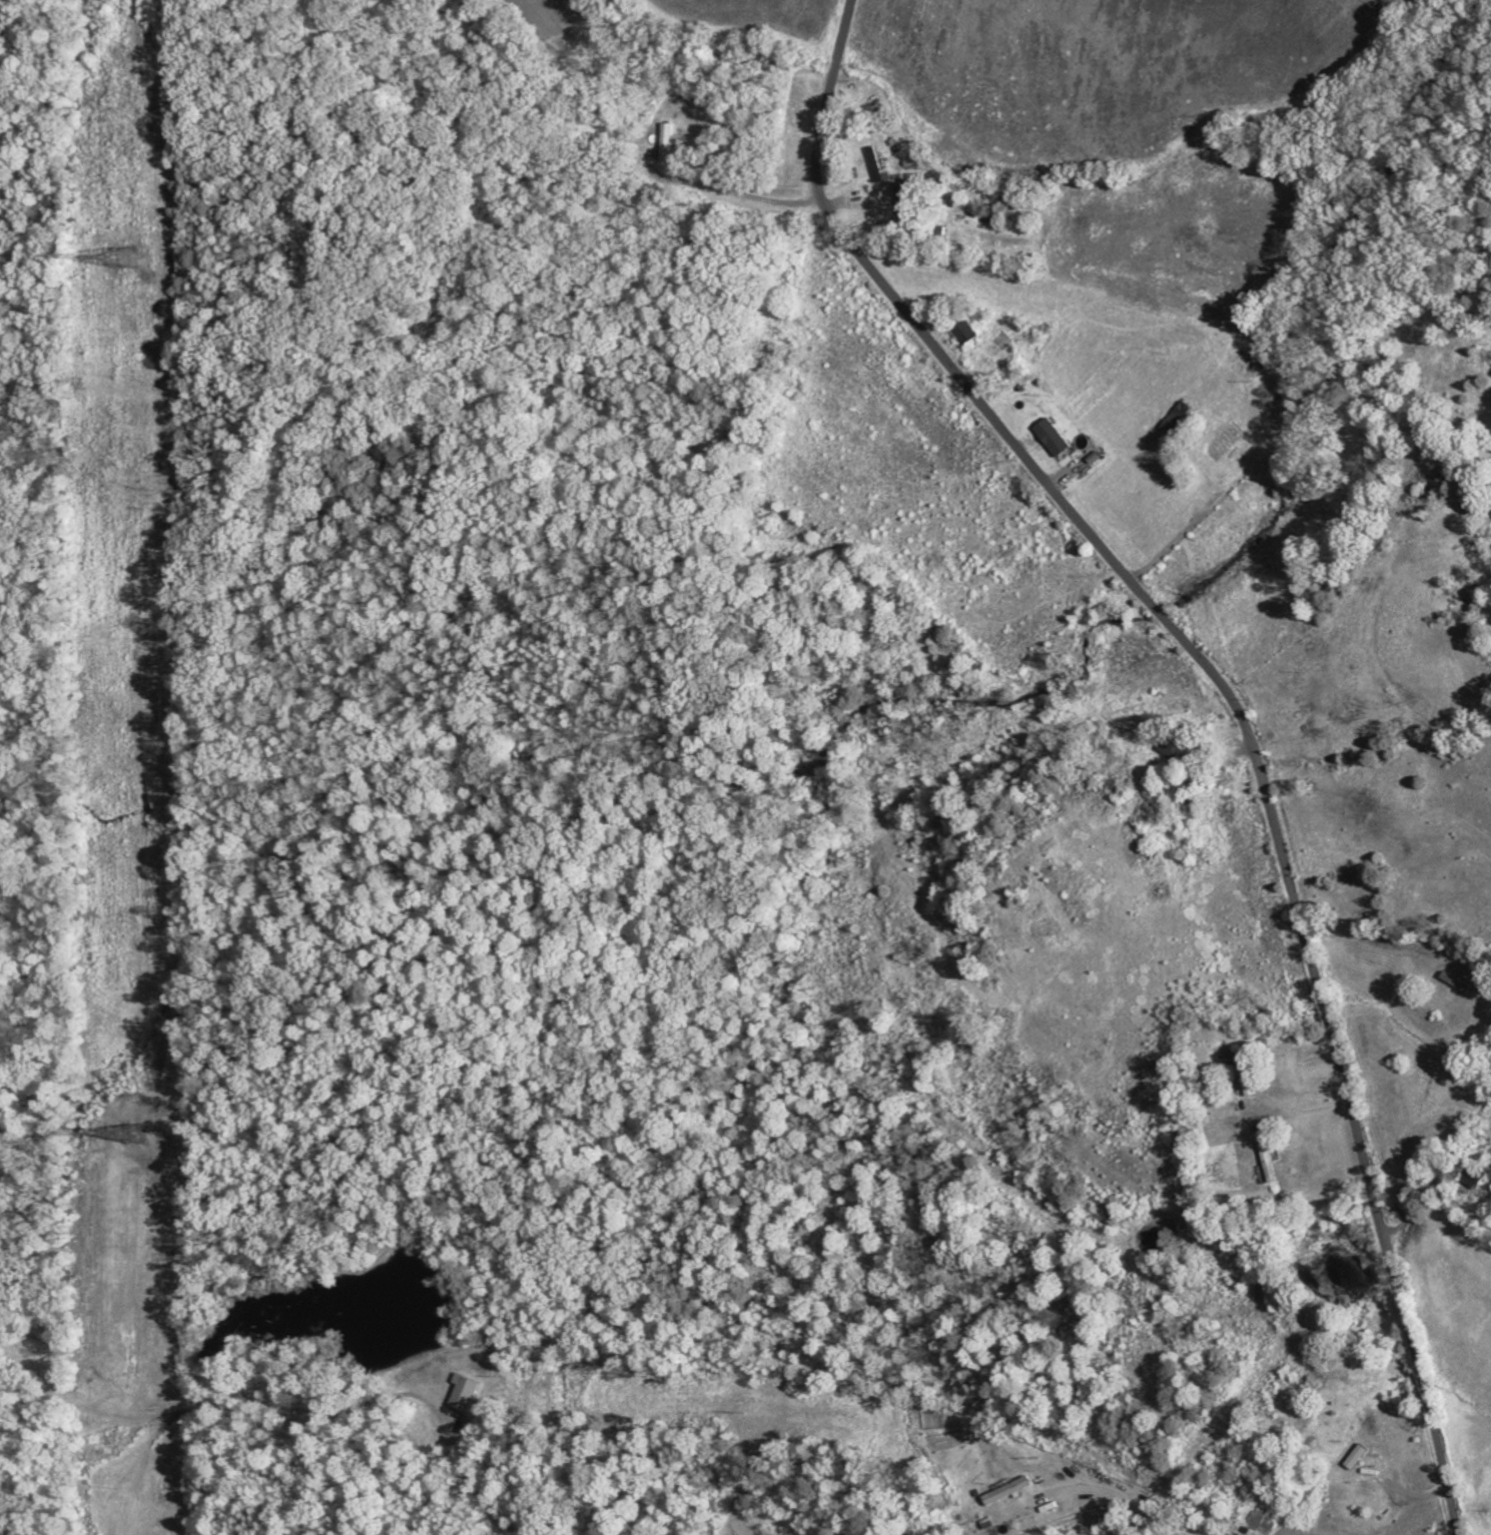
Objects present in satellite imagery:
power tower: (128, 259)
building: (1056, 438)
road: (1232, 707)
building: (1177, 748)
building: (1249, 1072)
power tower: (138, 1132)
building: (466, 1392)
building: (1008, 1490)
road: (1151, 1508)

